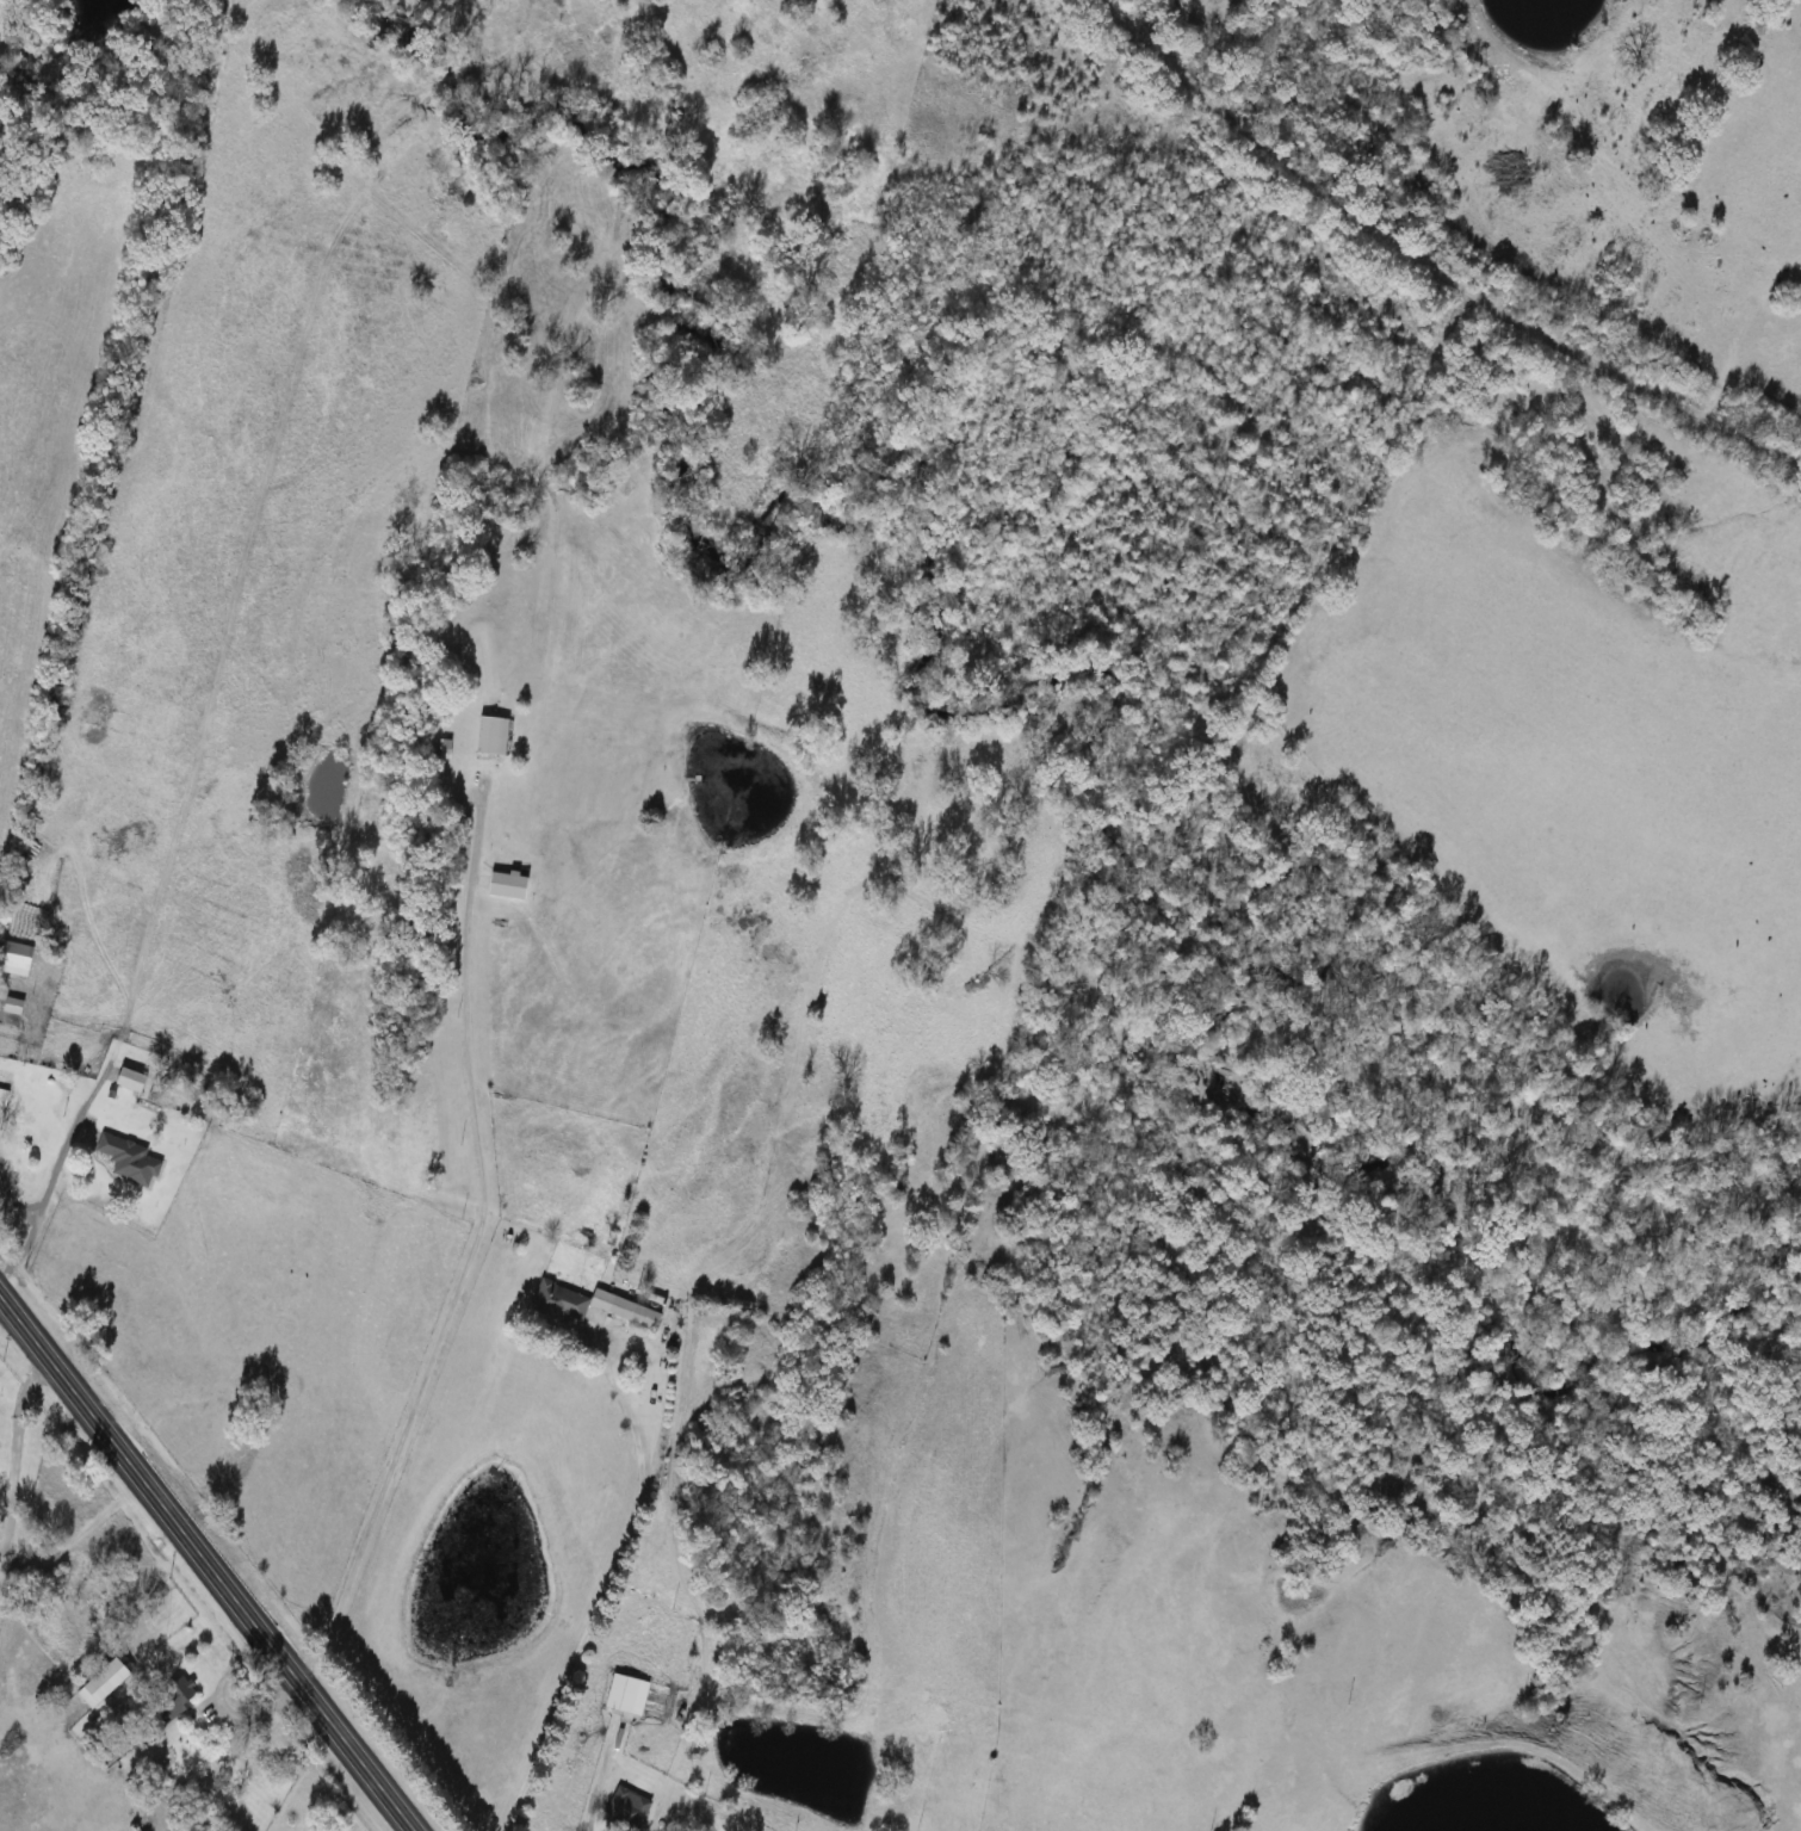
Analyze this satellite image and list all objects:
railway: (1446, 248)
building: (489, 735)
building: (505, 884)
building: (13, 957)
building: (1, 1077)
building: (128, 1078)
road: (74, 1128)
building: (126, 1159)
road: (31, 1221)
road: (470, 1249)
building: (586, 1304)
road: (19, 1422)
road: (6, 1492)
road: (10, 1516)
road: (204, 1565)
road: (608, 1583)
building: (100, 1681)
building: (624, 1694)
building: (172, 1697)
building: (624, 1808)
road: (651, 1825)

